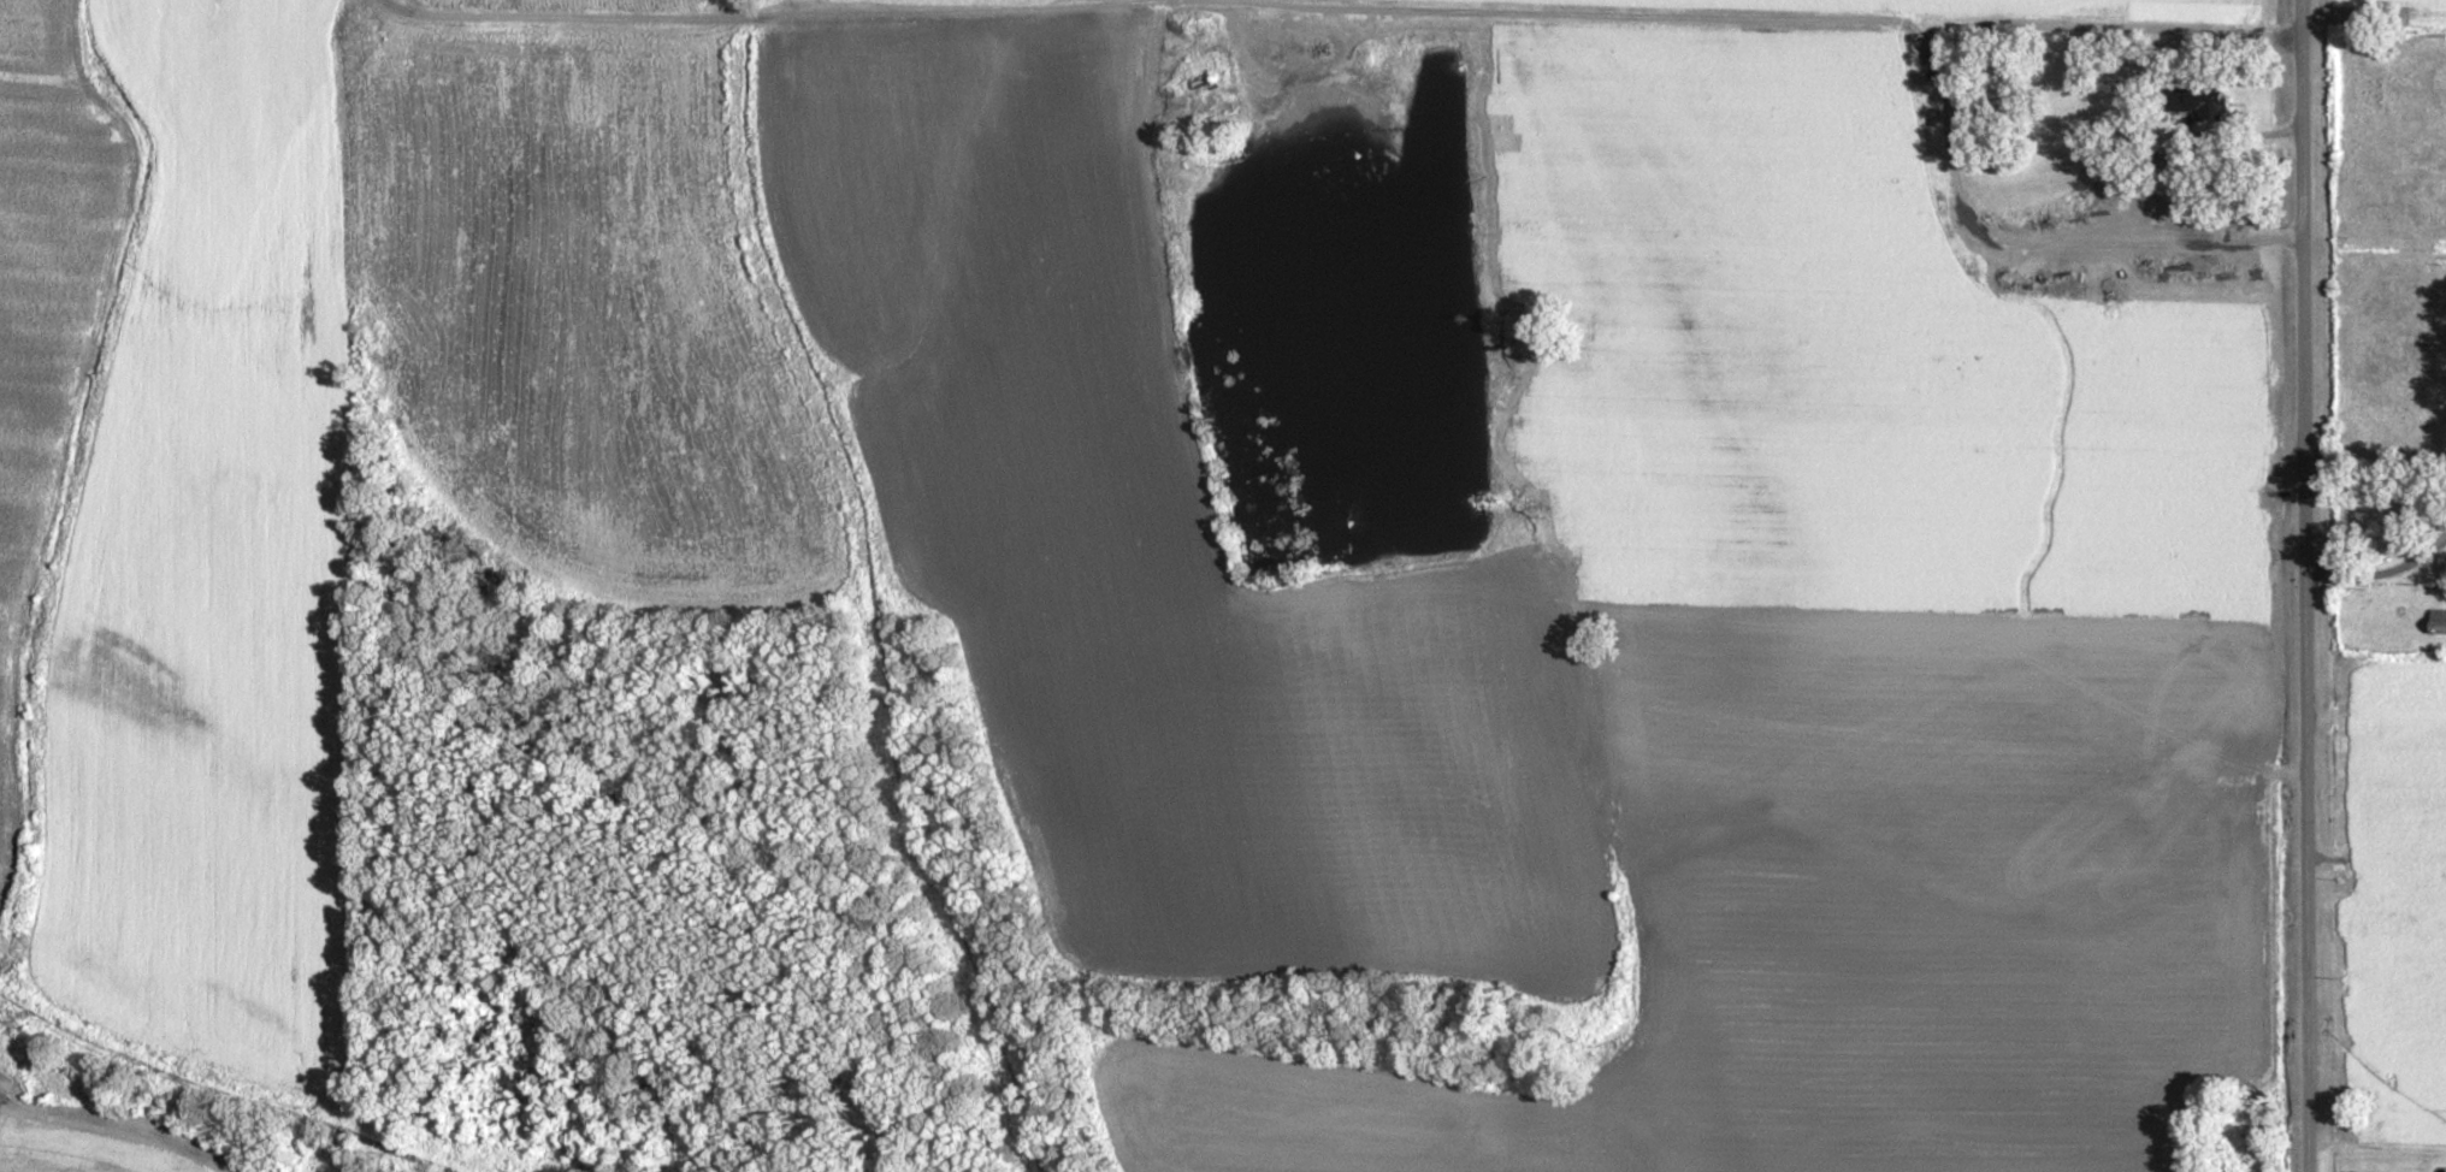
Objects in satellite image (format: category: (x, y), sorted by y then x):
building: (2441, 568)
road: (2381, 578)
road: (2305, 585)
building: (2436, 627)

